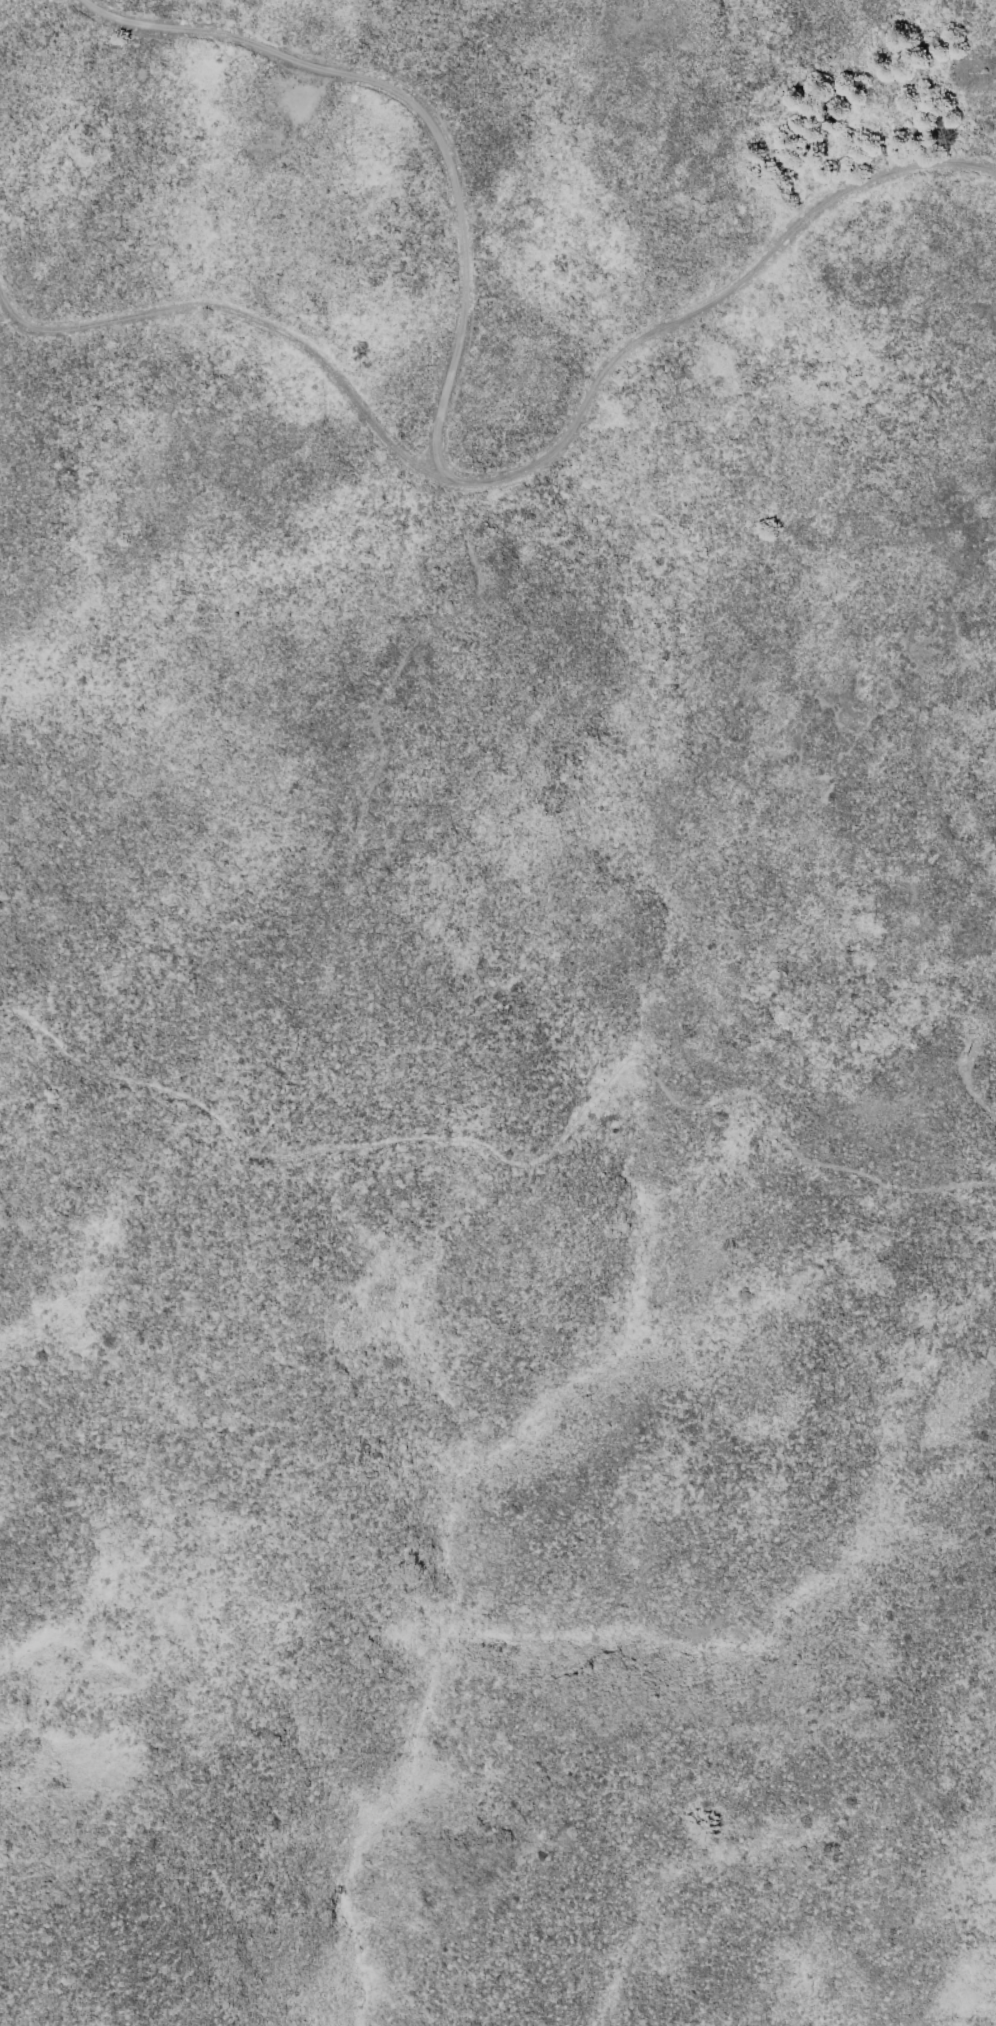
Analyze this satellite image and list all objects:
road: (427, 118)
road: (517, 475)
road: (915, 714)
road: (969, 1066)
road: (516, 1160)
park: (500, 1536)

